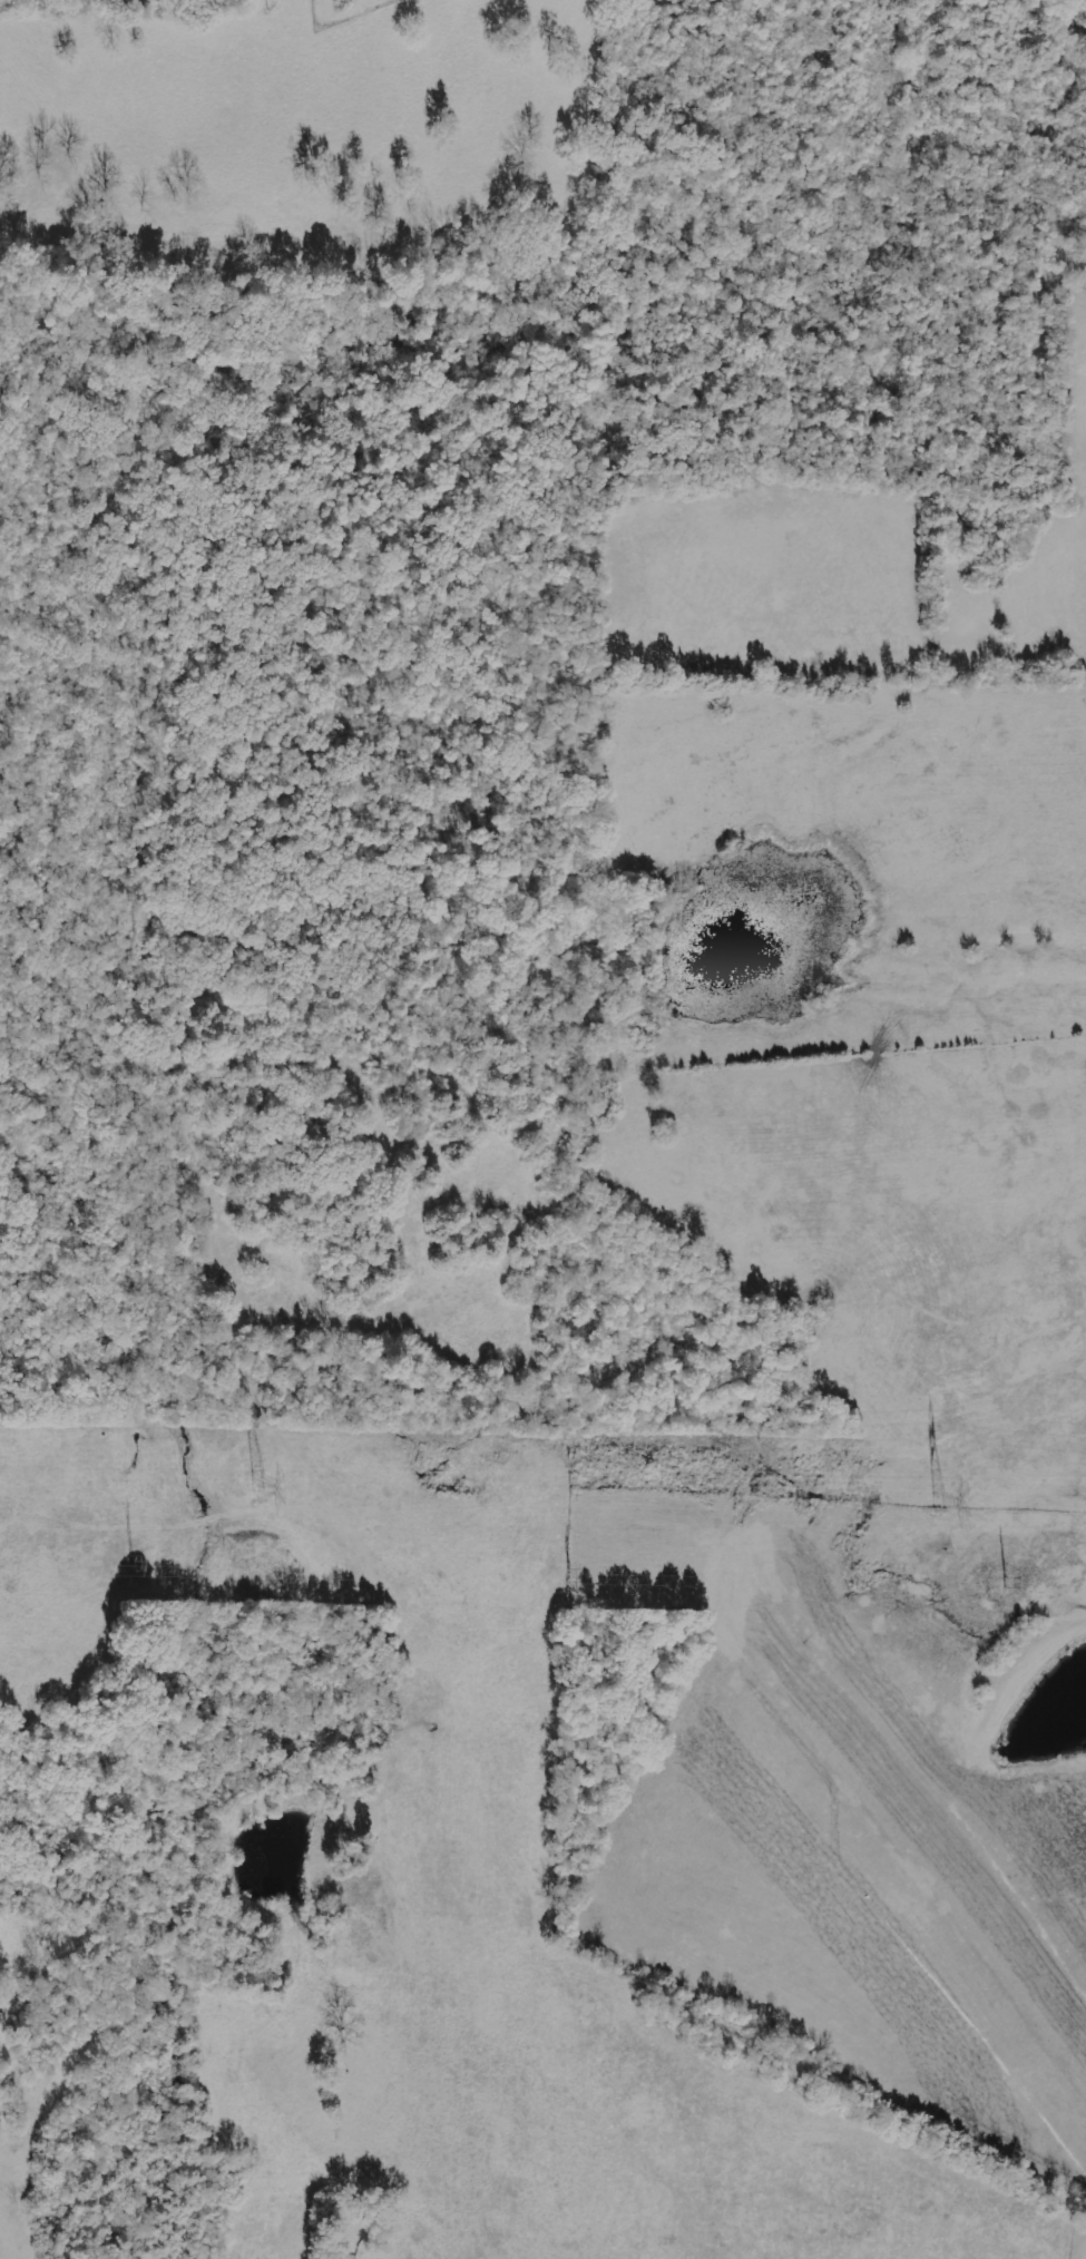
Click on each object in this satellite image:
park: (343, 12)
power tower: (266, 1492)
power tower: (945, 1504)

